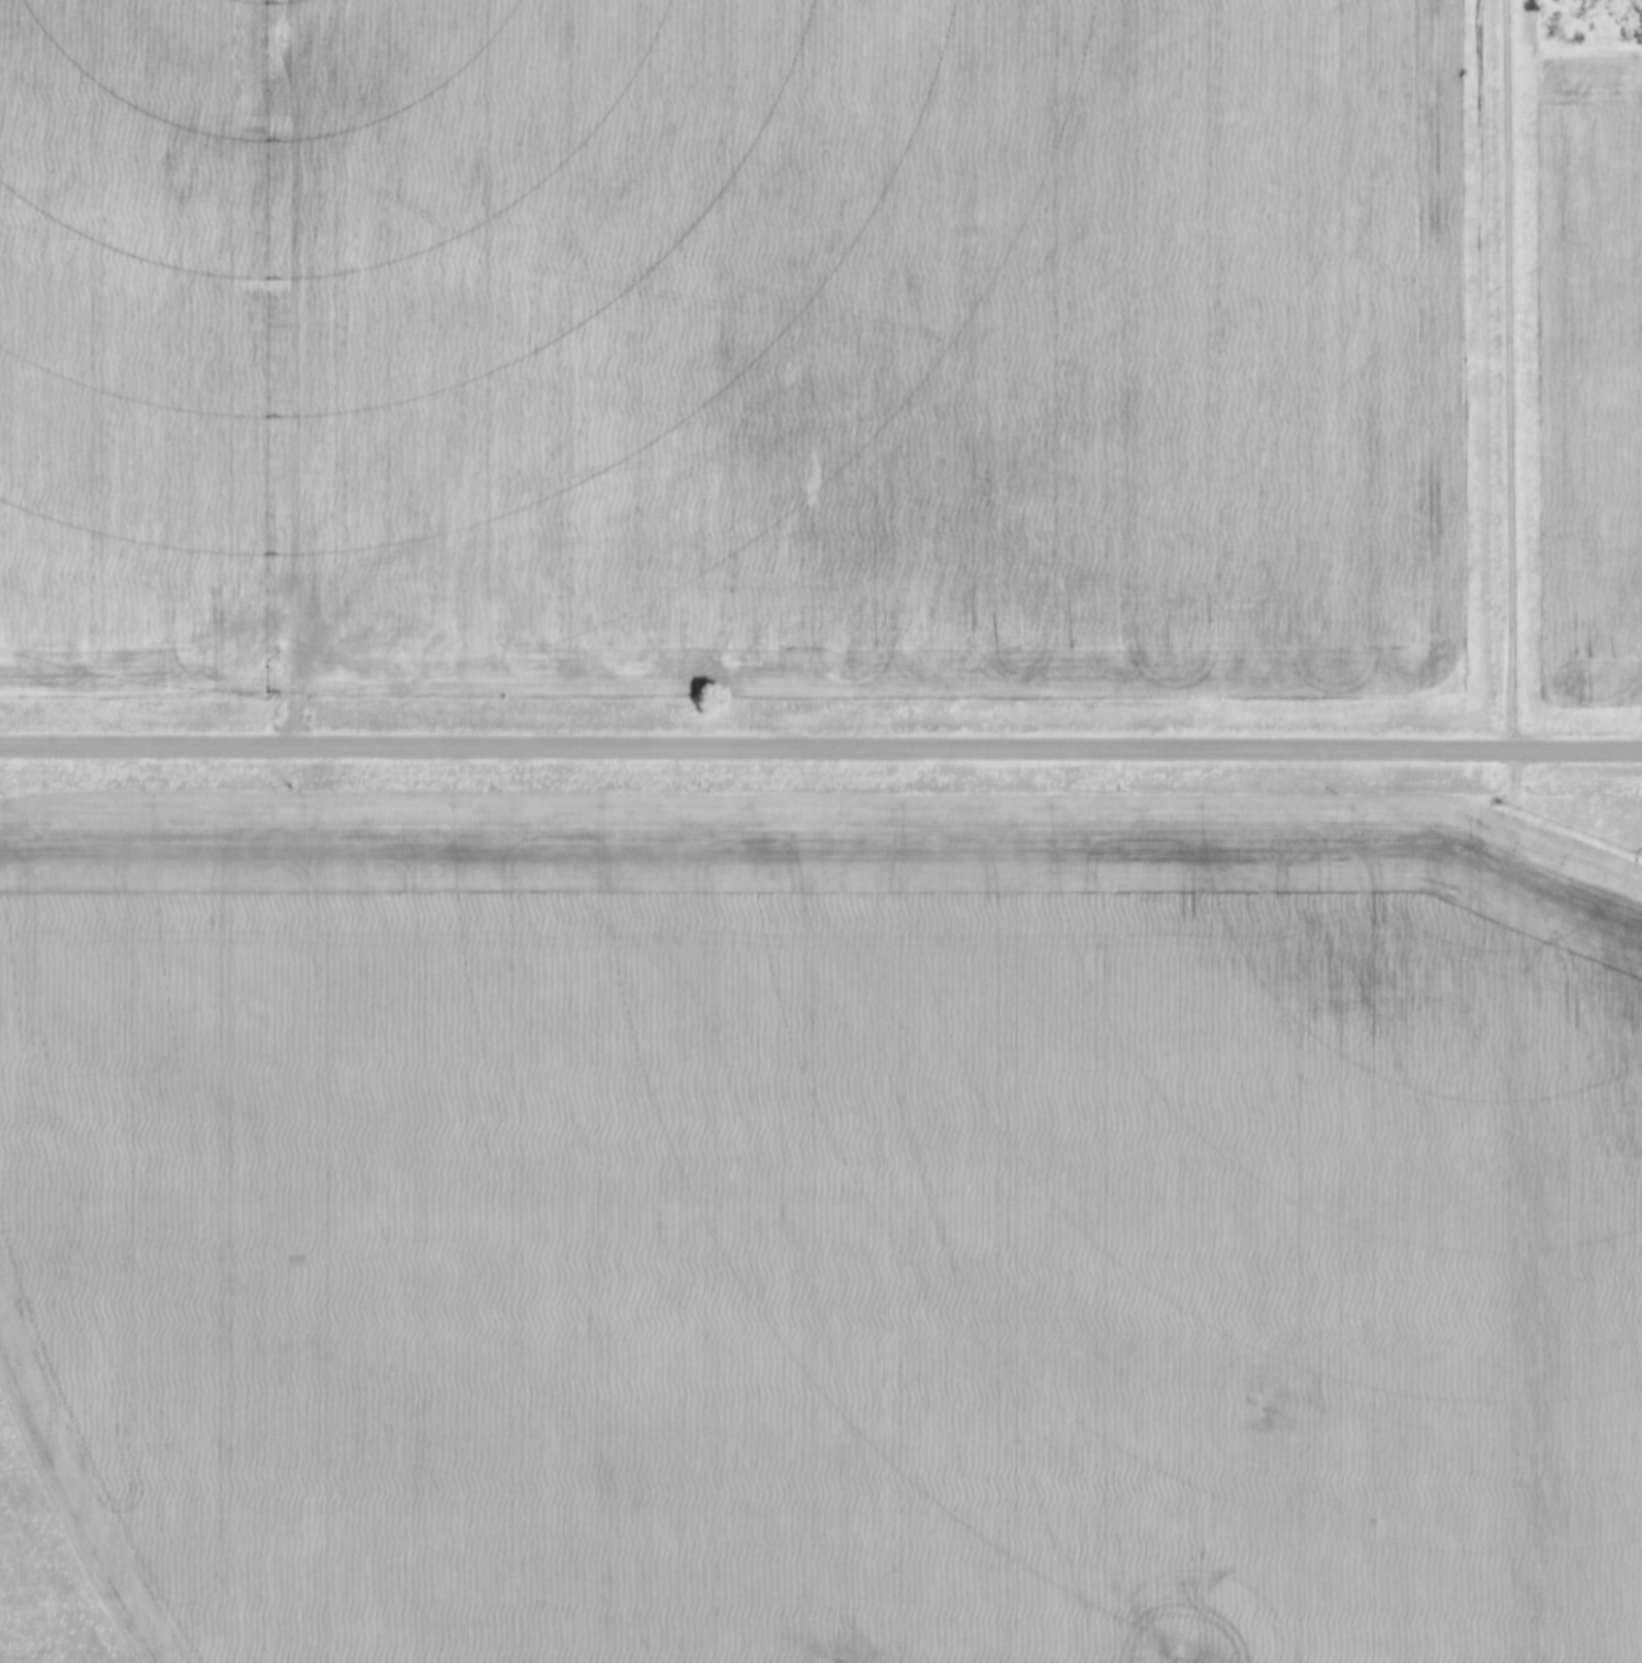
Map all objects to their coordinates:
road: (820, 749)
road: (1507, 830)

